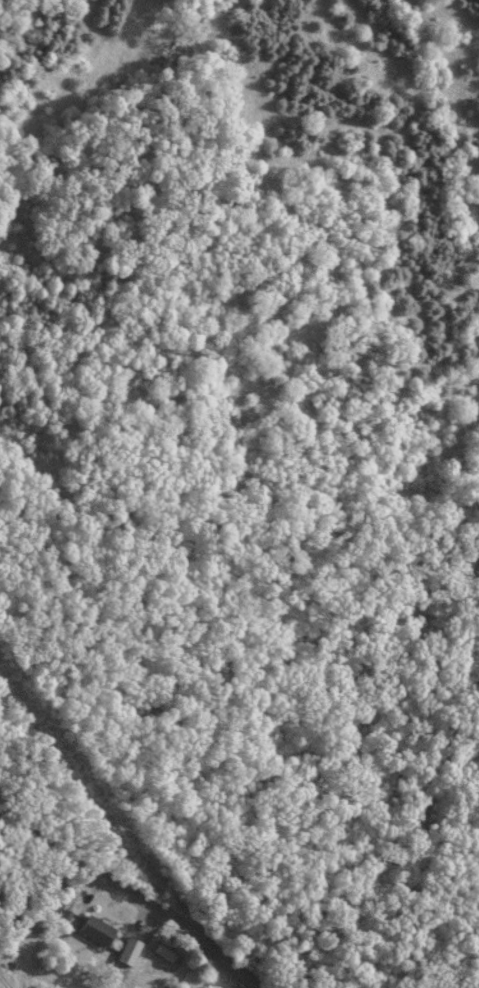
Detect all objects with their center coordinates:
road: (130, 892)
building: (94, 929)
building: (162, 952)

